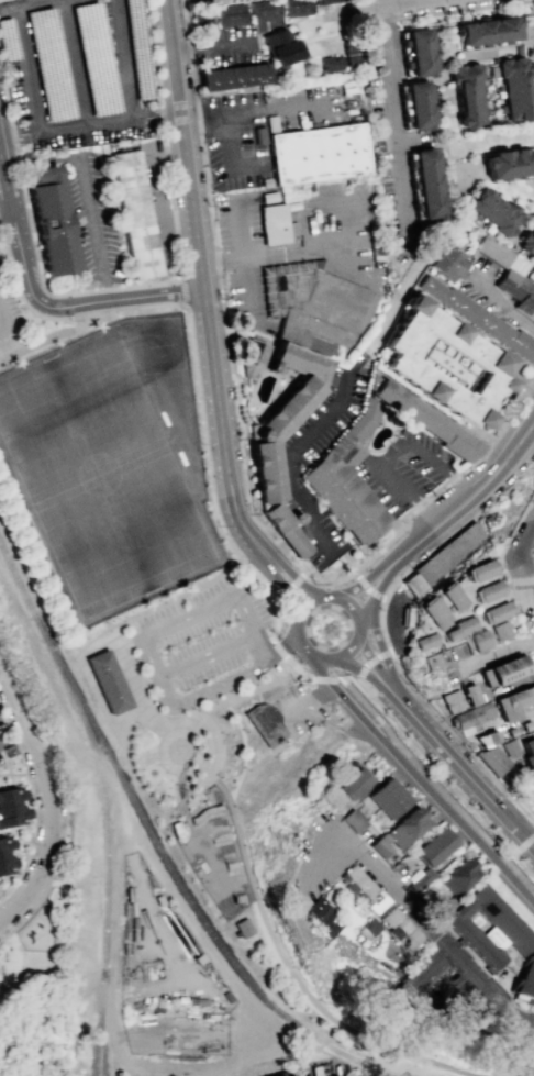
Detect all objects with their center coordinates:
building: (3, 0)
building: (325, 1)
road: (382, 1)
road: (408, 3)
road: (41, 4)
building: (294, 8)
building: (264, 11)
road: (432, 12)
building: (229, 14)
building: (200, 18)
building: (486, 23)
building: (415, 44)
building: (280, 48)
building: (353, 55)
road: (125, 64)
building: (330, 64)
road: (190, 66)
parking lot: (80, 73)
building: (232, 77)
building: (513, 84)
building: (466, 89)
building: (56, 99)
building: (414, 100)
road: (92, 124)
road: (397, 124)
parking lot: (267, 125)
road: (233, 129)
road: (92, 135)
road: (188, 144)
building: (316, 154)
building: (507, 158)
building: (425, 178)
road: (86, 190)
road: (163, 193)
parking lot: (165, 207)
building: (496, 207)
building: (136, 215)
road: (5, 217)
building: (56, 224)
parking lot: (92, 224)
building: (272, 224)
parking lot: (342, 228)
building: (526, 239)
road: (326, 248)
parking lot: (242, 251)
road: (21, 257)
building: (449, 260)
building: (510, 273)
road: (242, 277)
road: (130, 289)
road: (181, 291)
road: (147, 296)
building: (310, 302)
road: (497, 306)
road: (370, 310)
parking lot: (9, 314)
building: (481, 317)
road: (186, 319)
road: (7, 324)
road: (53, 334)
building: (252, 356)
building: (442, 368)
building: (423, 421)
road: (223, 430)
road: (399, 454)
road: (292, 456)
park: (109, 463)
parking lot: (287, 463)
parking lot: (407, 472)
building: (264, 475)
building: (346, 479)
road: (470, 496)
road: (251, 518)
parking lot: (521, 528)
road: (304, 531)
road: (507, 531)
road: (291, 541)
road: (276, 551)
building: (450, 553)
road: (523, 553)
road: (37, 554)
road: (370, 555)
road: (352, 565)
building: (477, 573)
road: (531, 574)
road: (369, 576)
road: (294, 577)
railway: (18, 578)
road: (255, 578)
road: (257, 578)
road: (385, 578)
road: (520, 581)
road: (531, 583)
building: (414, 585)
road: (283, 586)
road: (367, 587)
road: (289, 589)
building: (486, 592)
road: (181, 594)
road: (330, 595)
building: (448, 599)
road: (308, 602)
road: (224, 603)
road: (355, 607)
road: (275, 611)
road: (367, 612)
building: (493, 613)
building: (431, 614)
building: (408, 615)
road: (521, 618)
road: (119, 619)
building: (457, 629)
road: (363, 630)
building: (499, 631)
road: (298, 637)
building: (477, 641)
parking lot: (202, 643)
building: (421, 643)
road: (379, 646)
road: (279, 647)
road: (285, 647)
road: (355, 650)
road: (209, 655)
road: (371, 659)
road: (327, 662)
building: (427, 662)
road: (374, 664)
road: (294, 666)
road: (399, 666)
building: (501, 672)
road: (160, 674)
road: (366, 674)
road: (323, 680)
building: (108, 681)
road: (226, 683)
road: (253, 685)
road: (358, 686)
road: (257, 692)
building: (469, 695)
building: (449, 700)
road: (225, 703)
road: (310, 703)
road: (366, 708)
building: (513, 708)
parking lot: (298, 711)
park: (169, 712)
building: (470, 717)
building: (265, 722)
parking lot: (4, 733)
building: (486, 740)
road: (60, 748)
building: (510, 748)
road: (243, 753)
road: (449, 756)
building: (529, 756)
building: (491, 758)
parking lot: (0, 761)
road: (444, 777)
road: (427, 778)
road: (120, 781)
building: (353, 783)
road: (419, 784)
building: (387, 796)
road: (49, 802)
road: (33, 803)
building: (12, 808)
road: (522, 808)
road: (521, 817)
building: (352, 820)
building: (405, 825)
road: (522, 836)
railway: (105, 840)
road: (523, 841)
building: (378, 843)
building: (431, 846)
park: (212, 852)
road: (243, 854)
building: (7, 856)
building: (455, 875)
building: (419, 878)
railway: (179, 883)
building: (360, 888)
road: (145, 896)
road: (175, 898)
building: (320, 914)
road: (414, 914)
building: (242, 927)
building: (508, 928)
building: (368, 929)
building: (401, 929)
road: (16, 944)
park: (35, 946)
road: (15, 952)
park: (37, 966)
building: (423, 970)
building: (524, 977)
road: (159, 985)
parking lot: (456, 1002)
road: (510, 1025)
road: (138, 1028)
road: (349, 1030)
power tower: (532, 1035)
road: (121, 1054)
road: (230, 1062)

